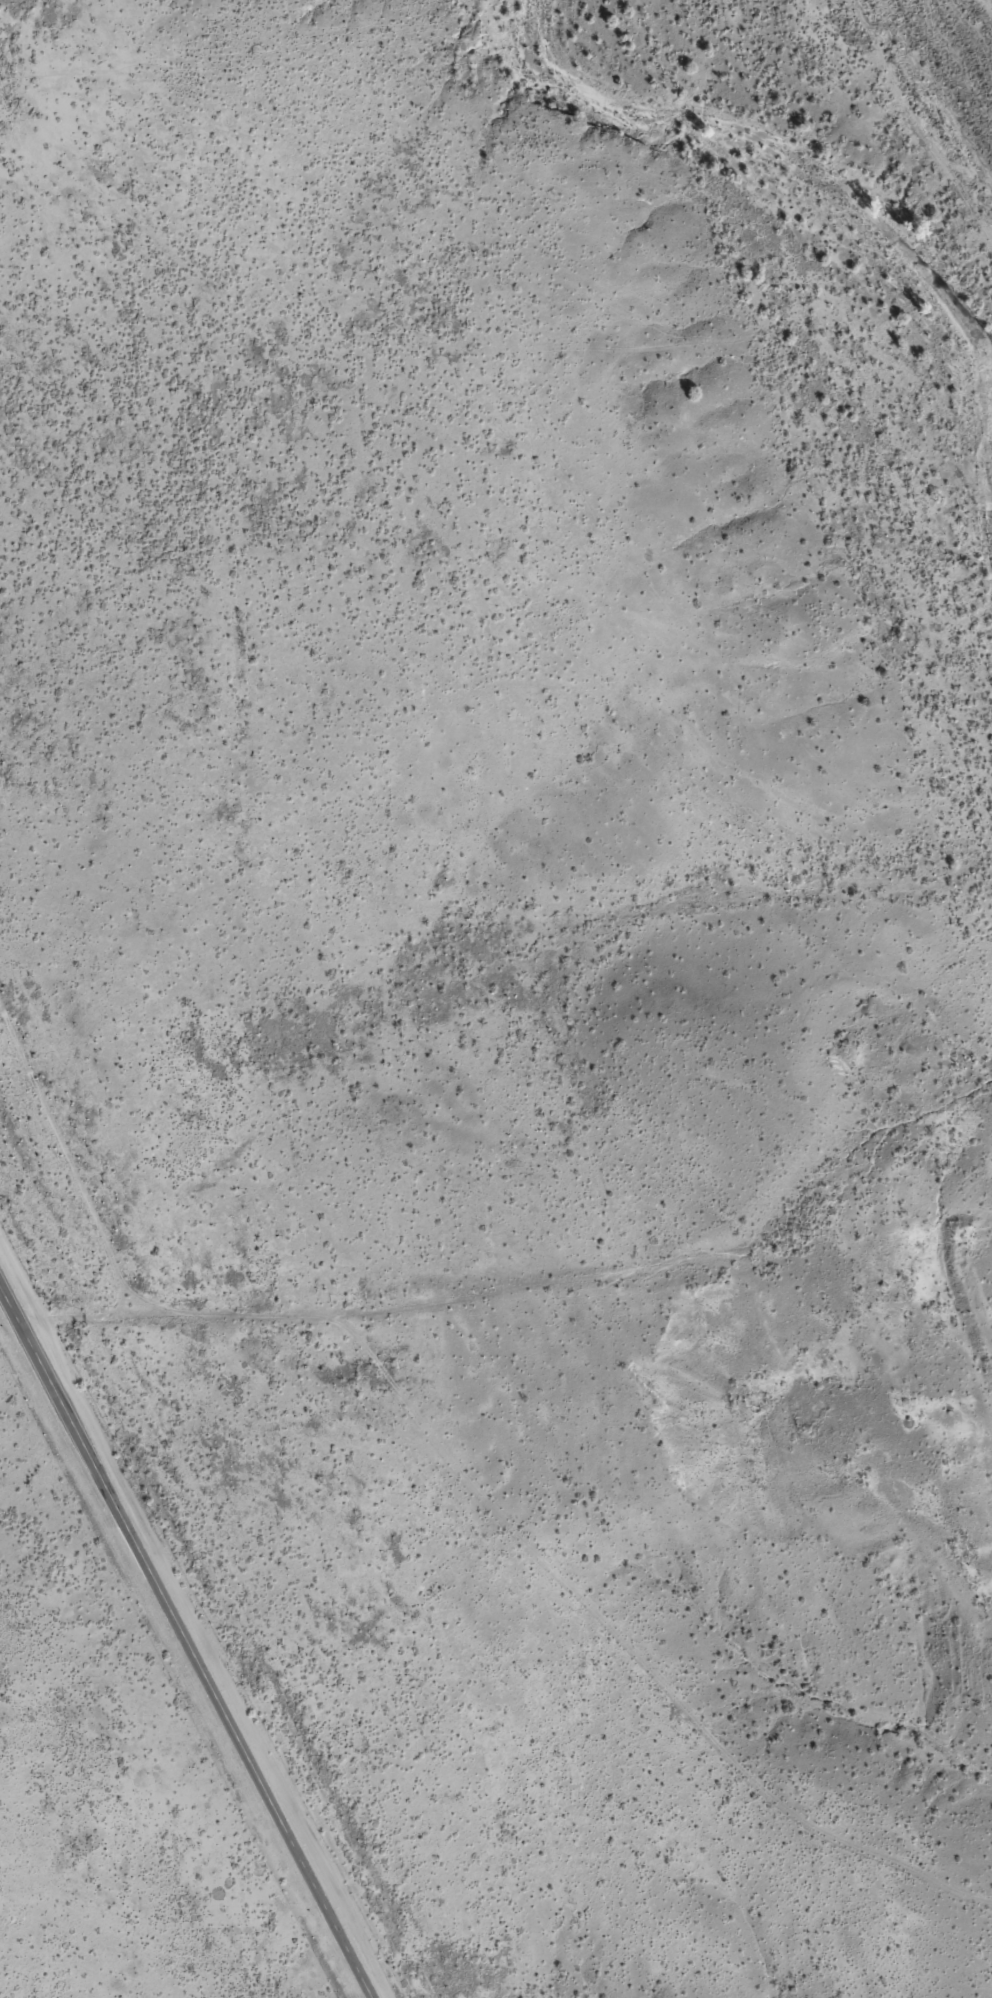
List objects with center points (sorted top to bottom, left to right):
road: (913, 146)
road: (187, 1640)

